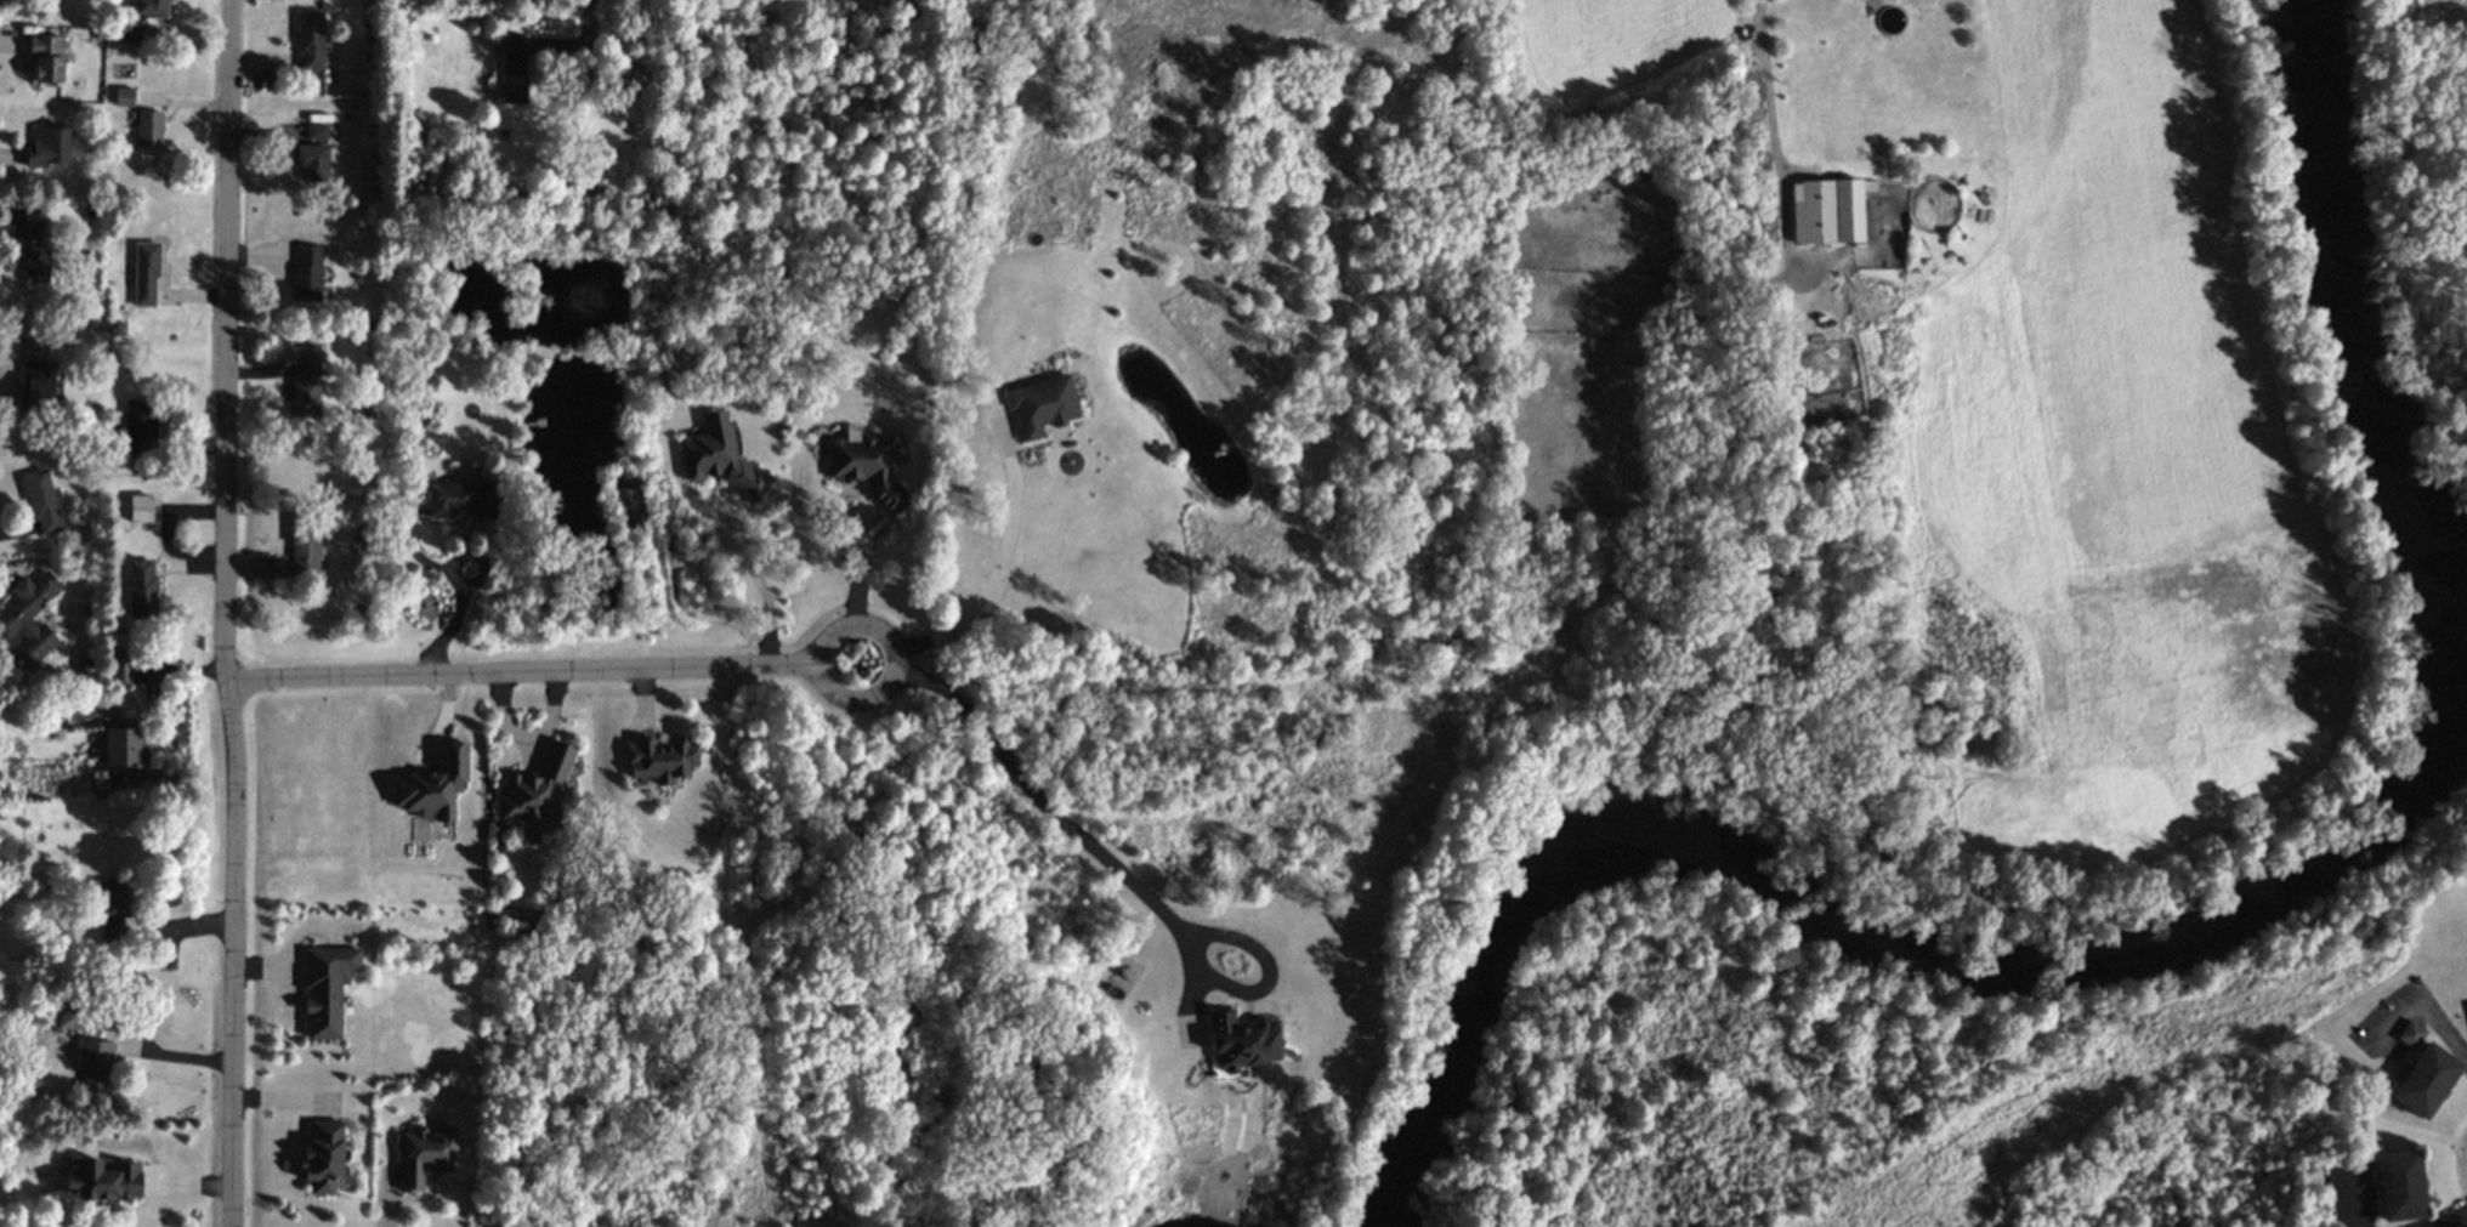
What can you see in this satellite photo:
building: (149, 8)
building: (310, 40)
building: (46, 57)
building: (514, 69)
building: (124, 96)
road: (589, 112)
building: (148, 127)
building: (316, 131)
building: (47, 147)
road: (1773, 158)
building: (312, 161)
building: (1827, 211)
building: (36, 251)
building: (144, 272)
building: (307, 273)
building: (38, 384)
building: (305, 386)
building: (1042, 405)
building: (138, 428)
building: (721, 458)
building: (868, 468)
building: (460, 499)
building: (41, 501)
building: (140, 507)
building: (304, 552)
road: (998, 573)
road: (478, 576)
road: (755, 578)
building: (141, 589)
road: (226, 613)
building: (28, 615)
road: (444, 634)
building: (120, 669)
road: (520, 676)
road: (841, 703)
building: (123, 746)
building: (660, 757)
building: (432, 786)
building: (535, 786)
road: (1115, 873)
building: (110, 908)
river: (2199, 939)
building: (324, 987)
road: (2422, 1012)
building: (2410, 1034)
power tower: (2160, 1036)
building: (1241, 1041)
building: (93, 1062)
building: (2423, 1080)
building: (424, 1154)
building: (322, 1157)
building: (103, 1180)
building: (2398, 1185)

